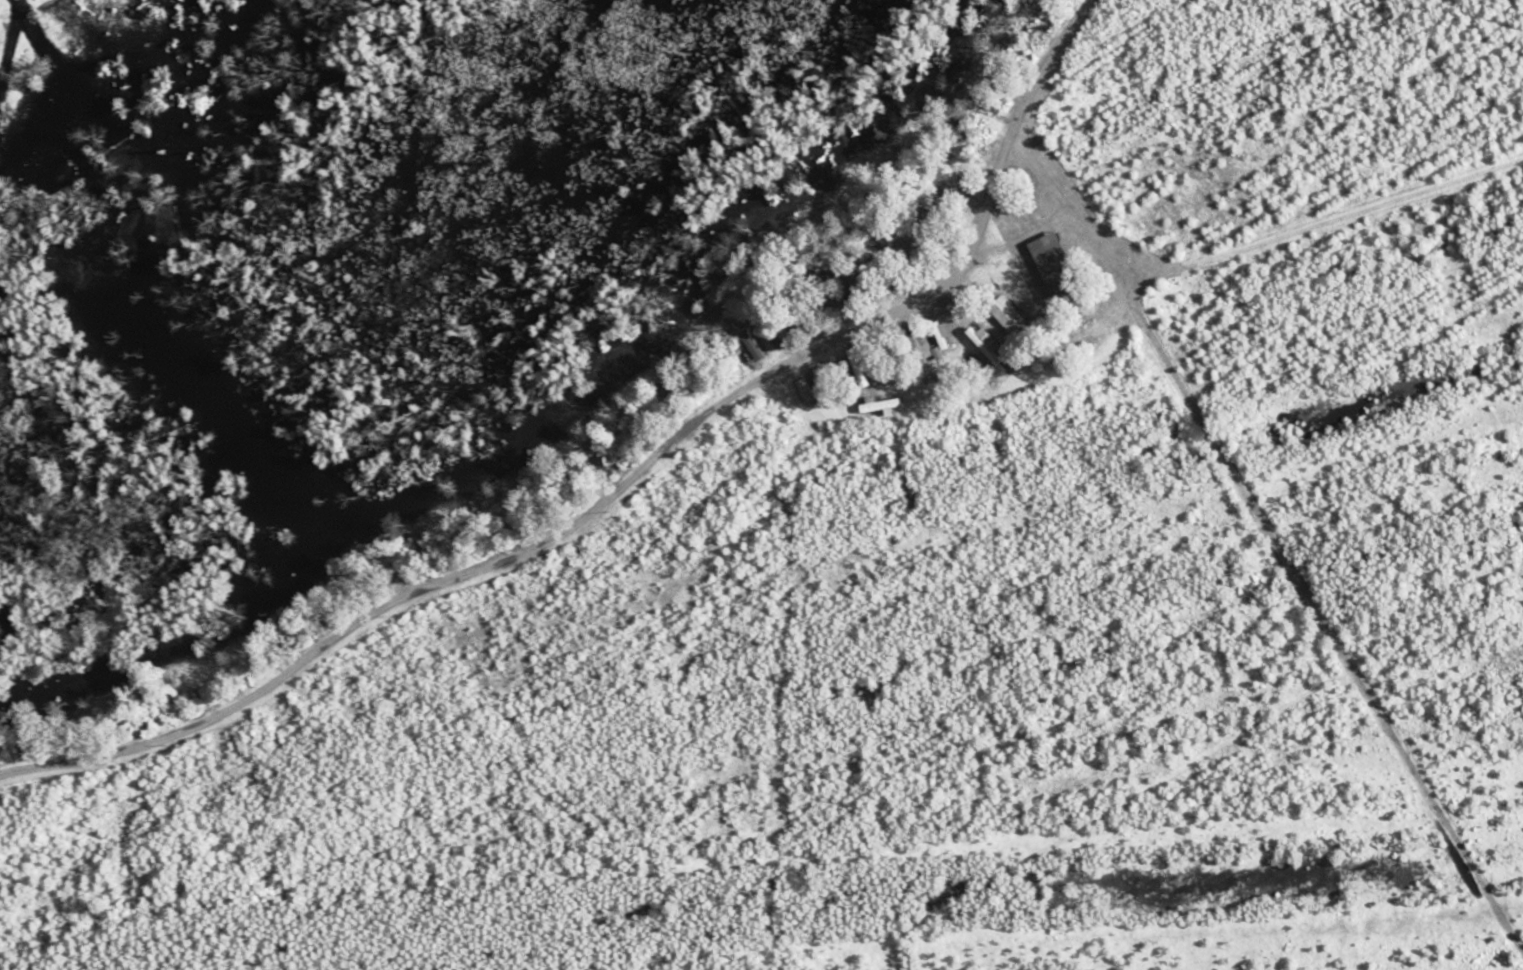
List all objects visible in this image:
road: (1010, 124)
road: (501, 560)

